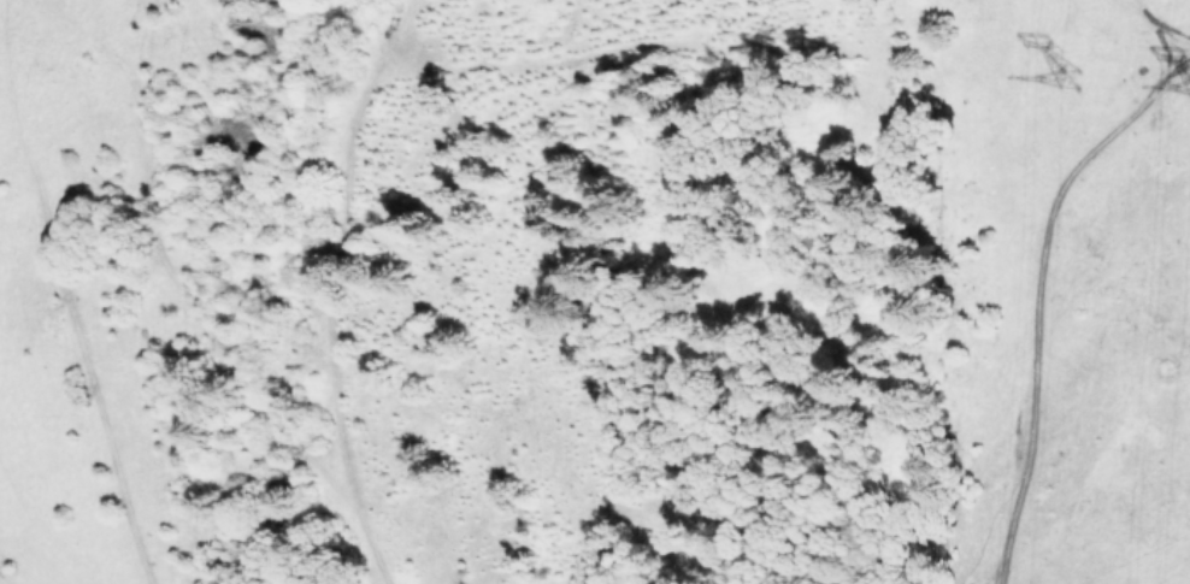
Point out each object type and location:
power tower: (1072, 100)

